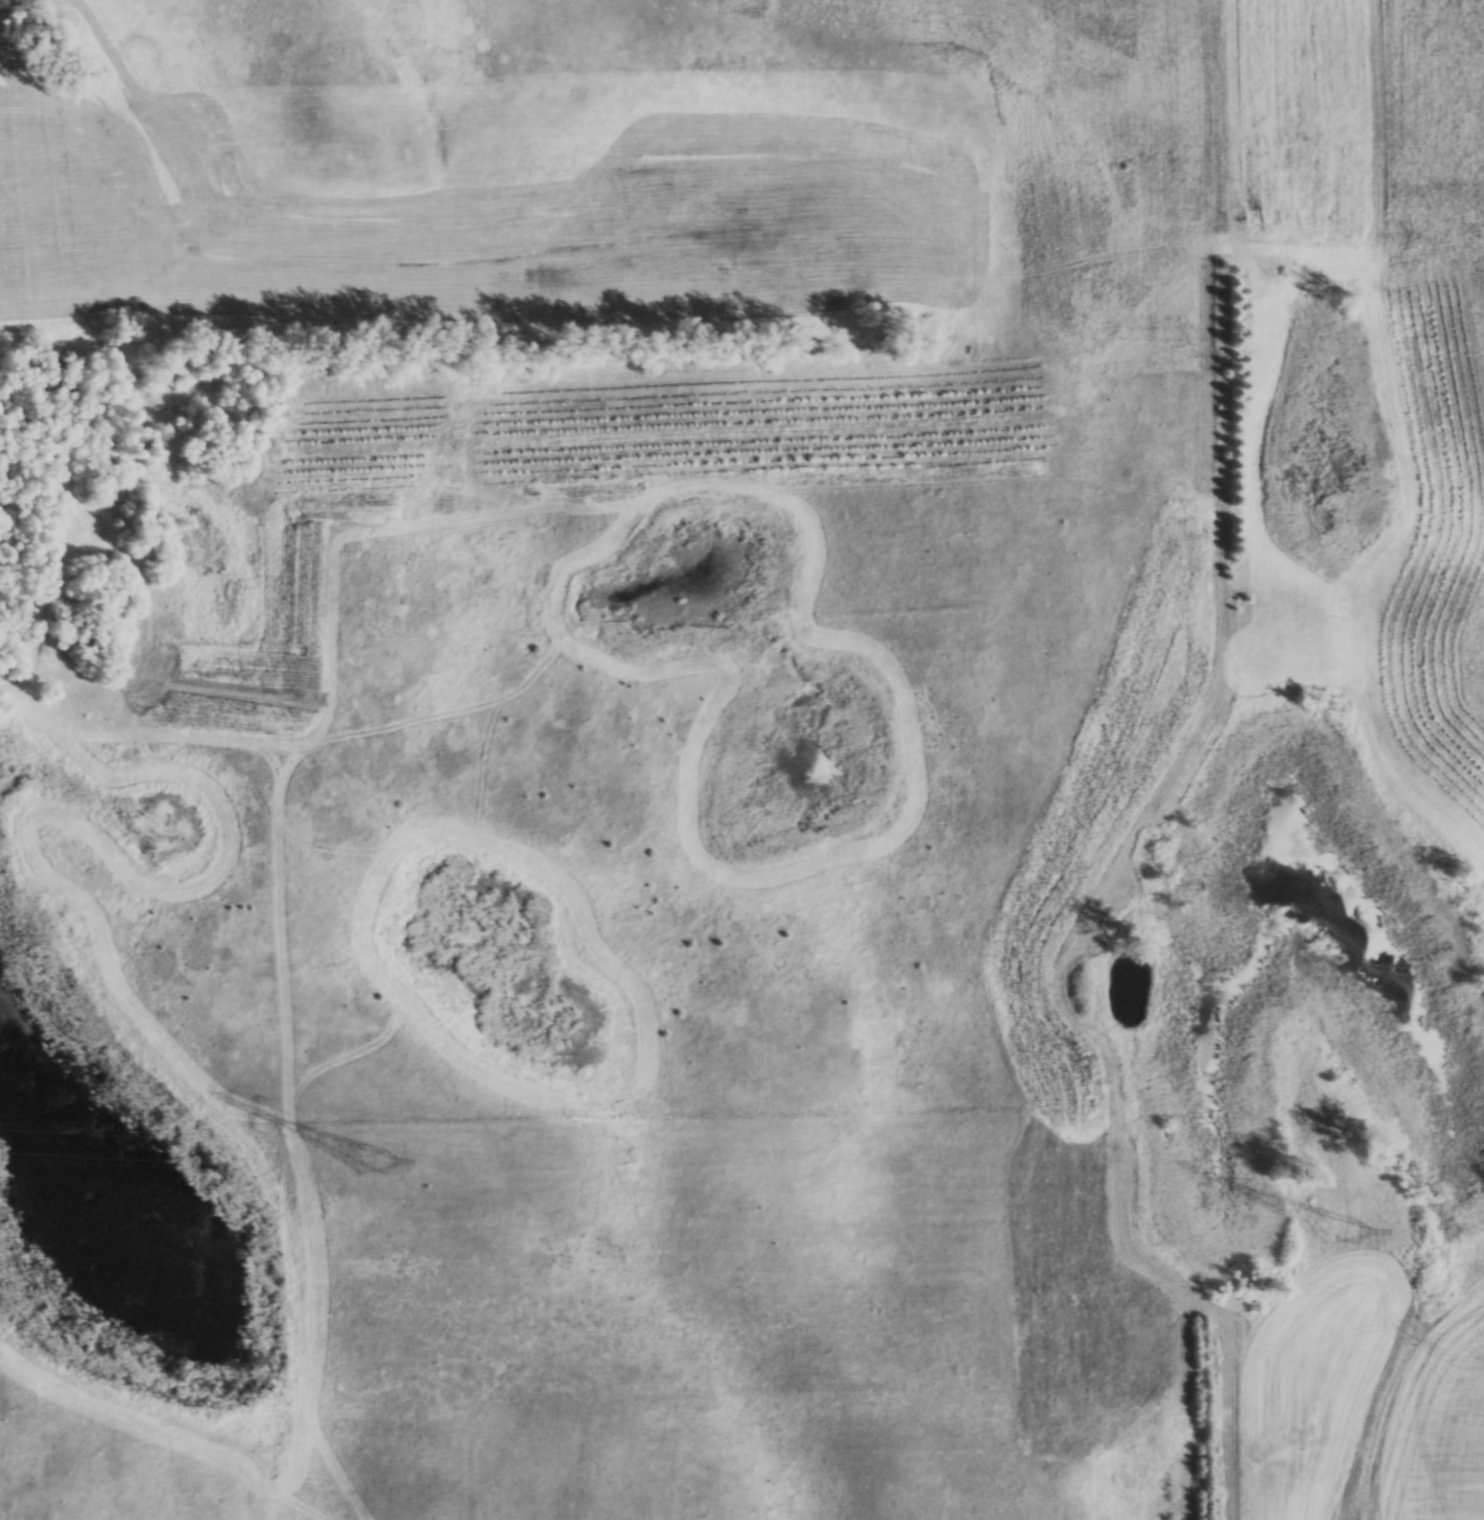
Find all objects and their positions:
road: (49, 608)
power tower: (365, 1163)
power tower: (1327, 1235)

